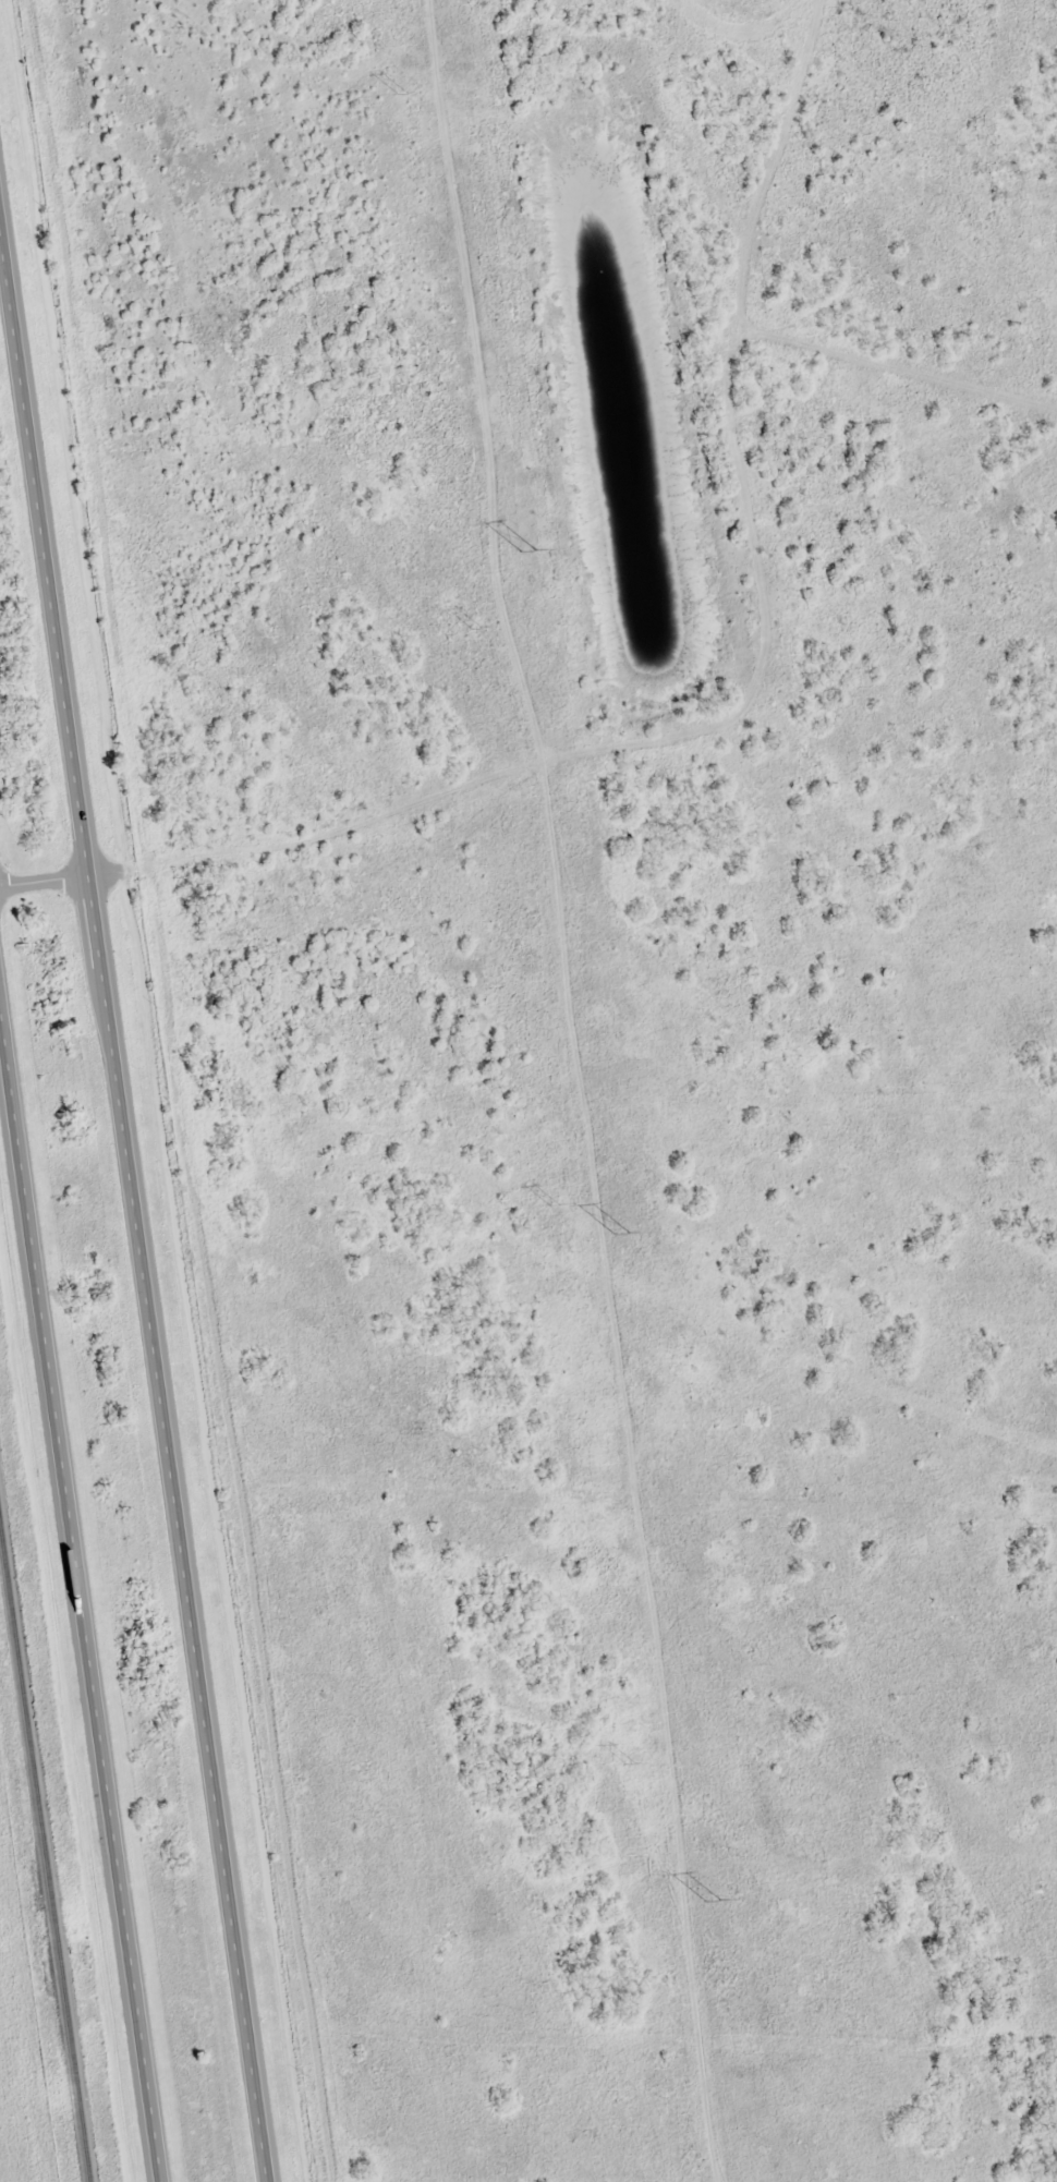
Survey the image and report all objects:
power tower: (401, 95)
power tower: (525, 553)
power tower: (476, 629)
road: (134, 1181)
power tower: (551, 1204)
power tower: (620, 1234)
road: (82, 1556)
power tower: (629, 1763)
railway: (46, 1839)
power tower: (712, 1902)

